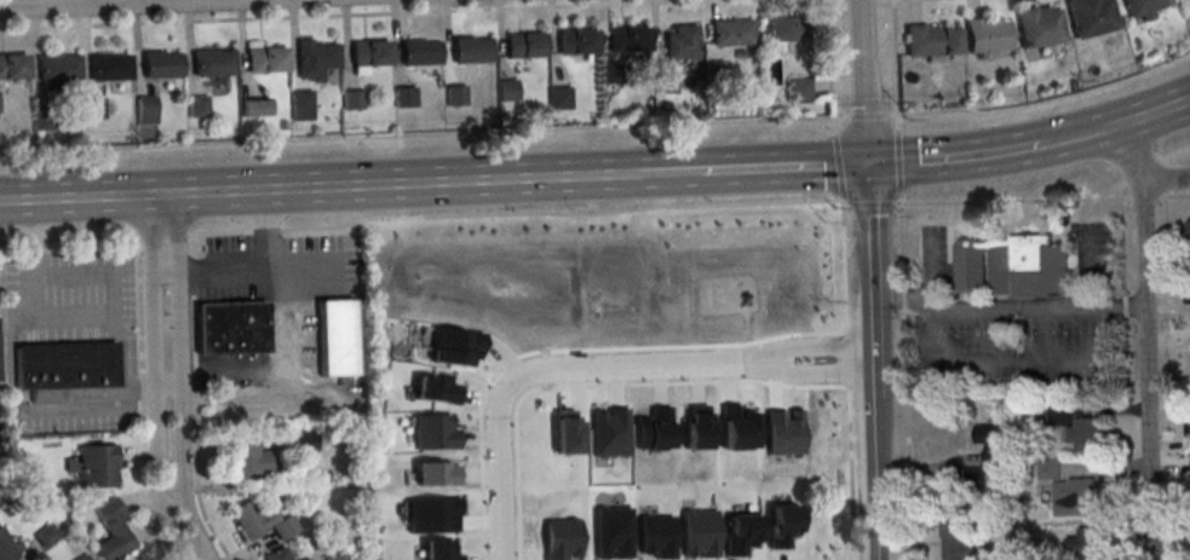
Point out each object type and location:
road: (901, 0)
road: (117, 1)
road: (881, 1)
road: (99, 4)
building: (1143, 7)
road: (369, 15)
building: (1091, 18)
building: (1039, 29)
building: (787, 31)
building: (731, 35)
building: (987, 37)
building: (932, 41)
building: (627, 42)
building: (576, 45)
building: (682, 46)
building: (524, 48)
building: (471, 53)
building: (369, 56)
building: (419, 56)
building: (314, 62)
building: (264, 63)
building: (212, 67)
building: (160, 68)
building: (12, 70)
building: (109, 70)
building: (57, 73)
building: (610, 75)
building: (713, 75)
road: (862, 82)
building: (663, 86)
building: (799, 92)
building: (506, 93)
building: (455, 99)
building: (404, 100)
building: (559, 100)
building: (352, 103)
building: (300, 104)
building: (254, 106)
building: (196, 109)
building: (92, 111)
building: (144, 112)
road: (1152, 112)
building: (42, 122)
road: (448, 133)
road: (1081, 135)
road: (1129, 151)
road: (956, 158)
road: (1175, 161)
road: (781, 168)
road: (667, 173)
road: (1143, 177)
road: (1166, 177)
road: (399, 184)
road: (898, 185)
road: (80, 197)
road: (563, 214)
road: (264, 229)
building: (1189, 229)
road: (844, 248)
building: (1012, 266)
road: (166, 270)
parking lot: (277, 271)
road: (1007, 310)
road: (74, 316)
road: (288, 319)
building: (231, 333)
building: (335, 342)
road: (824, 342)
road: (872, 362)
road: (981, 363)
road: (826, 365)
road: (551, 366)
road: (1146, 368)
building: (67, 369)
road: (179, 377)
road: (159, 382)
road: (169, 387)
road: (143, 399)
road: (195, 400)
building: (1039, 420)
building: (1087, 438)
building: (304, 441)
building: (989, 456)
building: (251, 457)
building: (97, 464)
building: (1048, 472)
building: (1076, 500)
building: (261, 521)
building: (113, 533)
building: (46, 535)
building: (958, 541)
building: (1090, 544)
building: (6, 548)
road: (178, 549)
building: (277, 554)
building: (335, 555)
building: (84, 558)
building: (307, 559)

